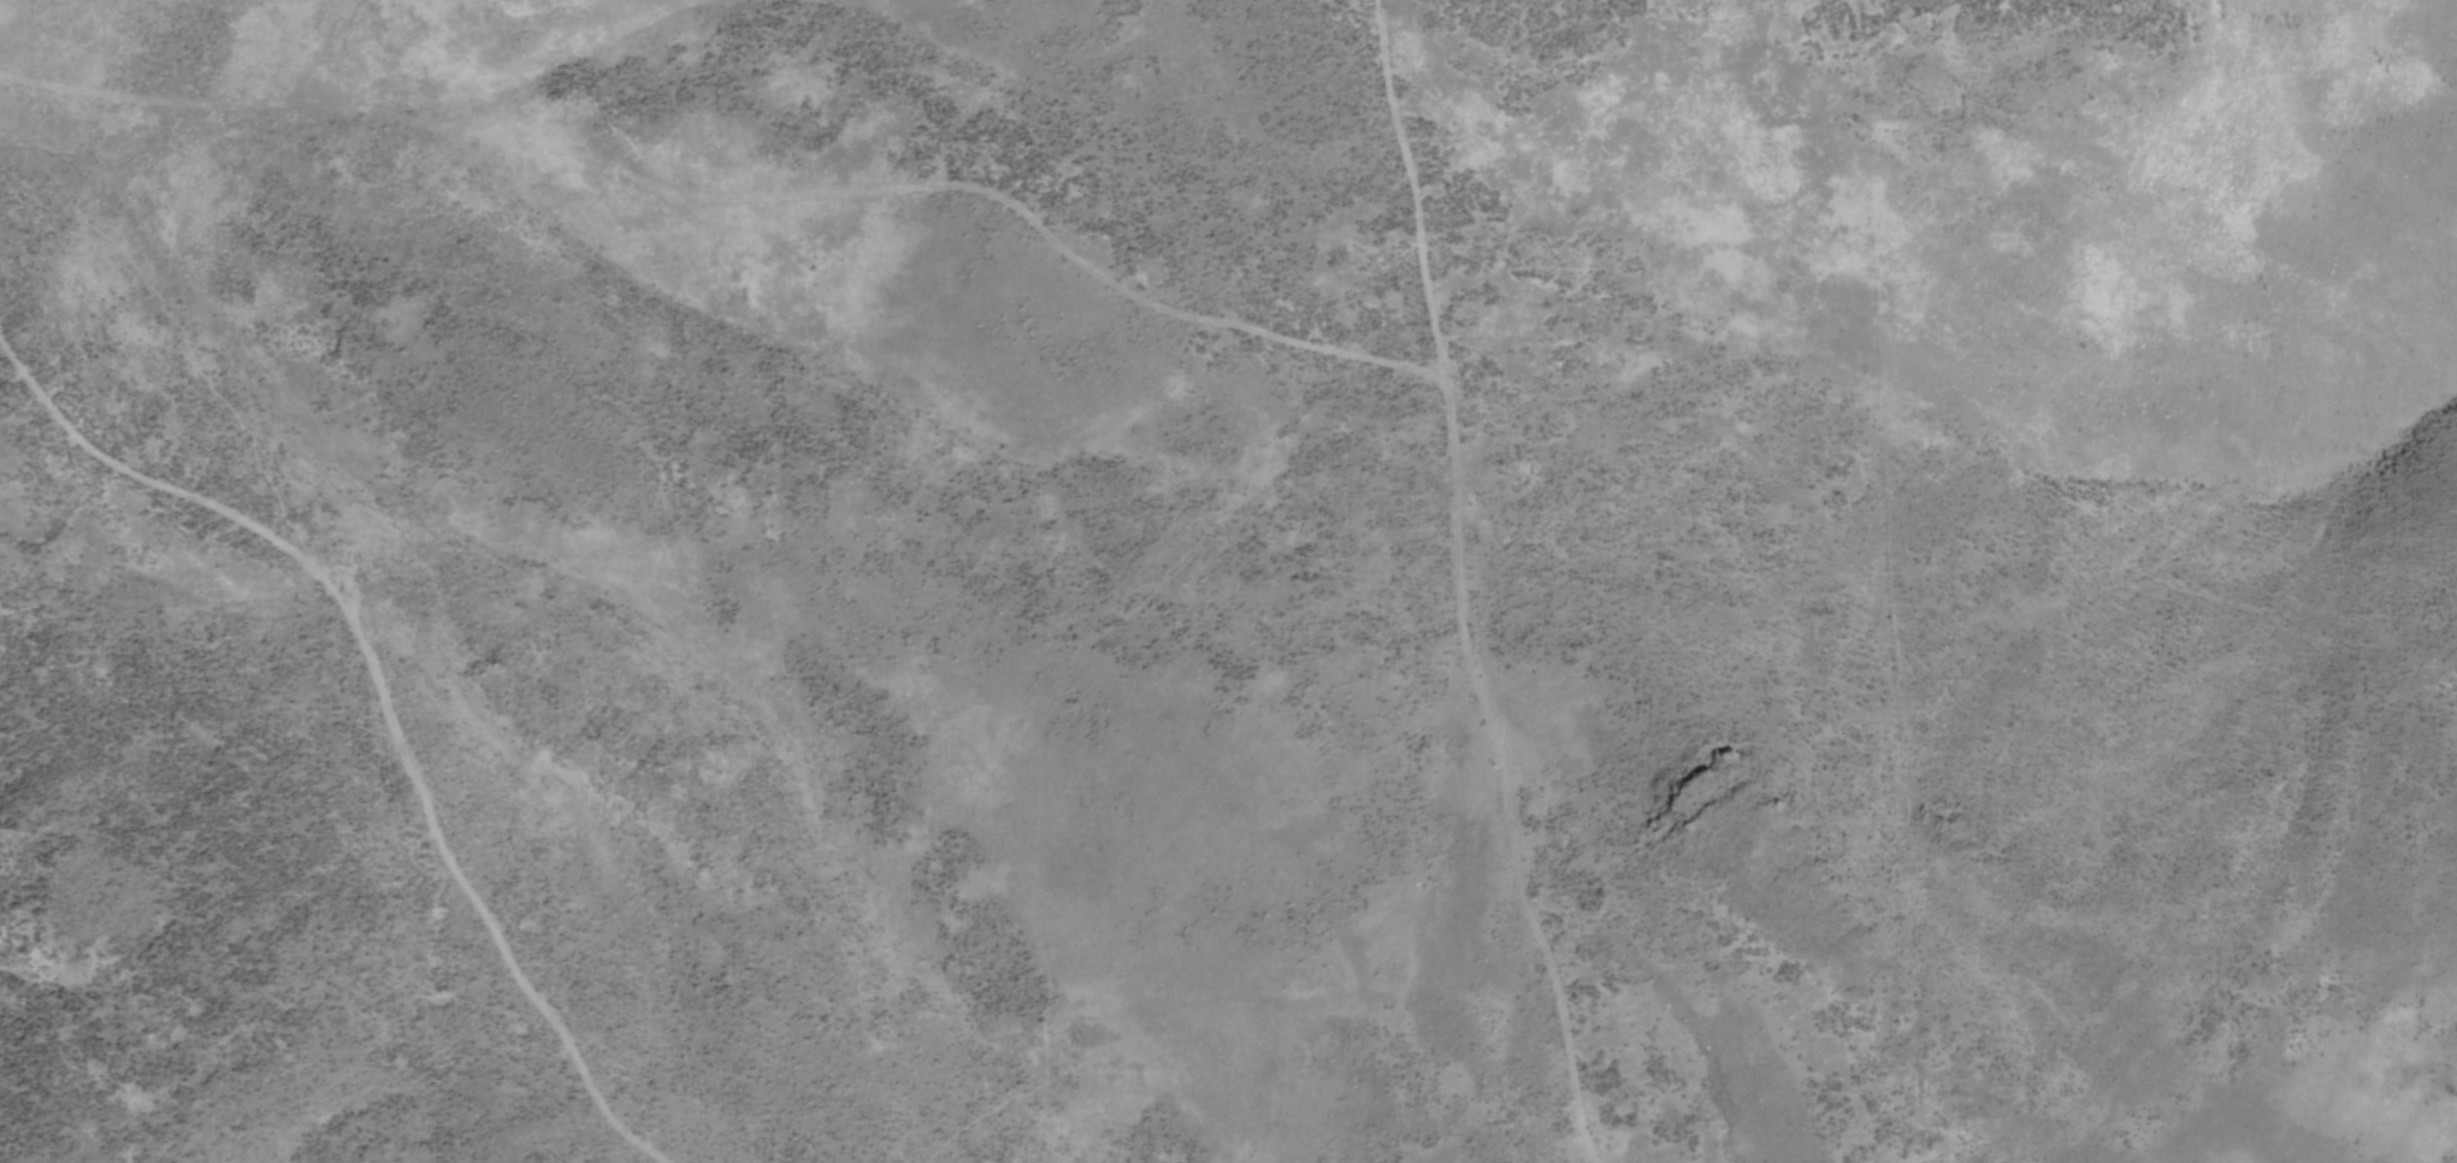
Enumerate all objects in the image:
road: (1412, 185)
road: (1109, 282)
road: (385, 699)

